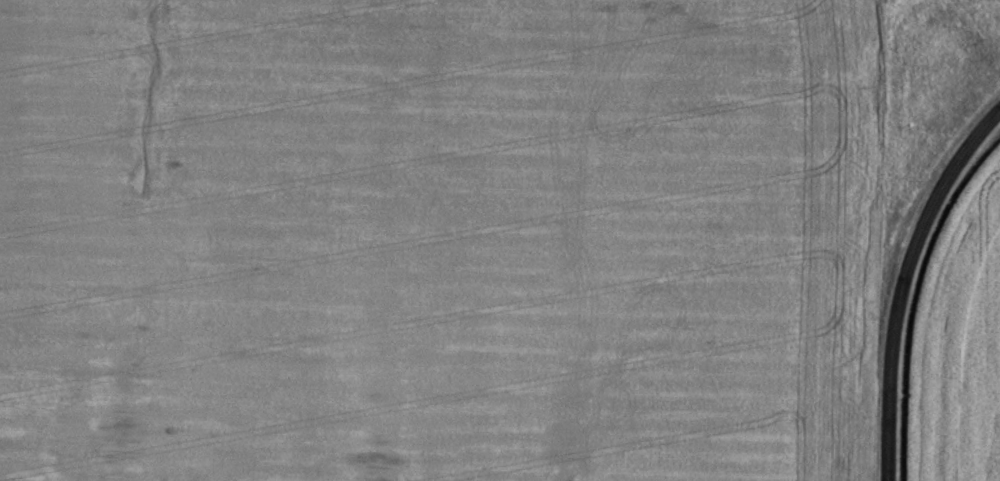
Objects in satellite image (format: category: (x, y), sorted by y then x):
road: (905, 282)

